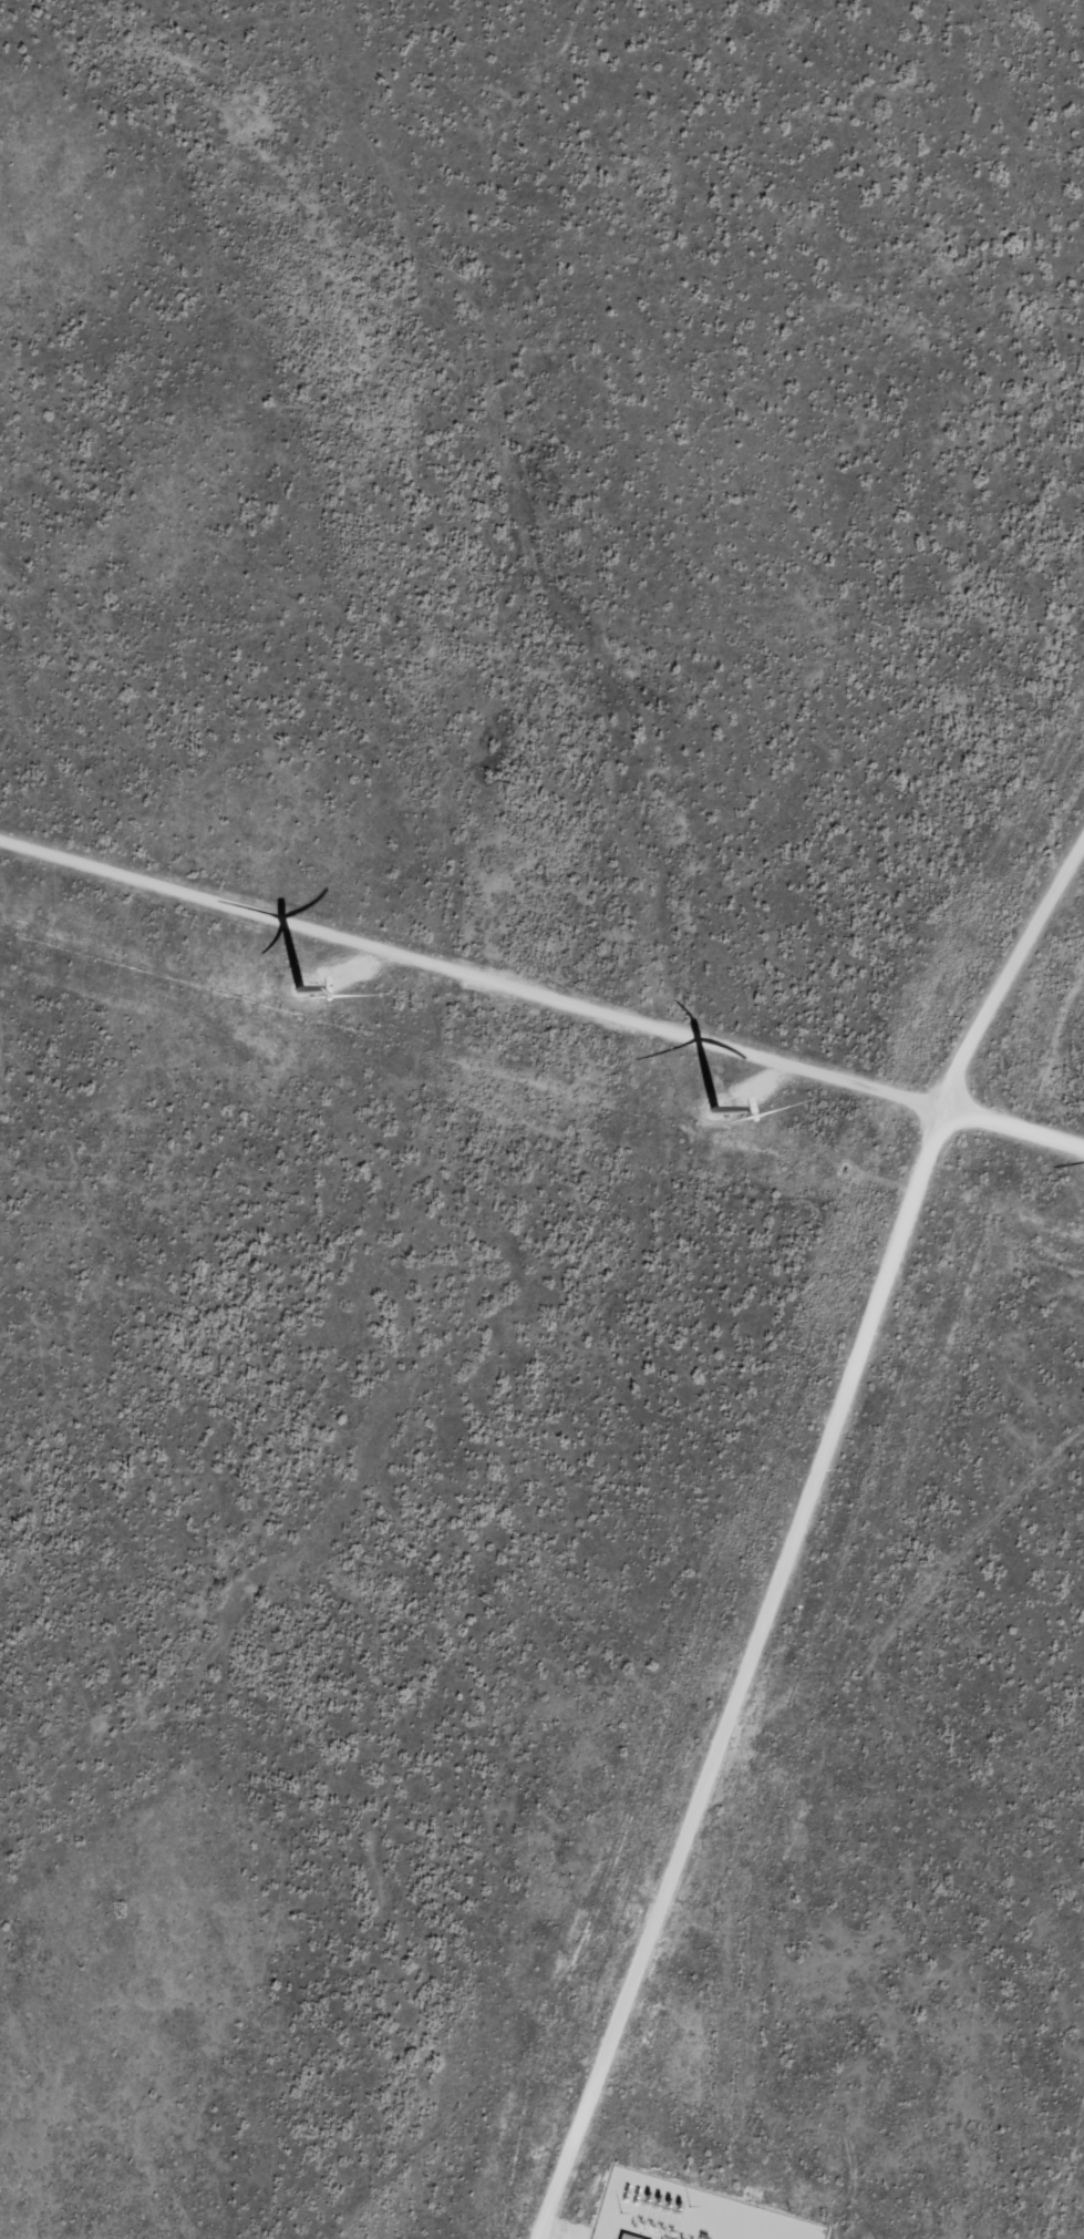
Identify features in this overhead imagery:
wind turbine: (260, 992)
wind turbine: (686, 1105)
road: (702, 1849)
power substation: (688, 2212)

